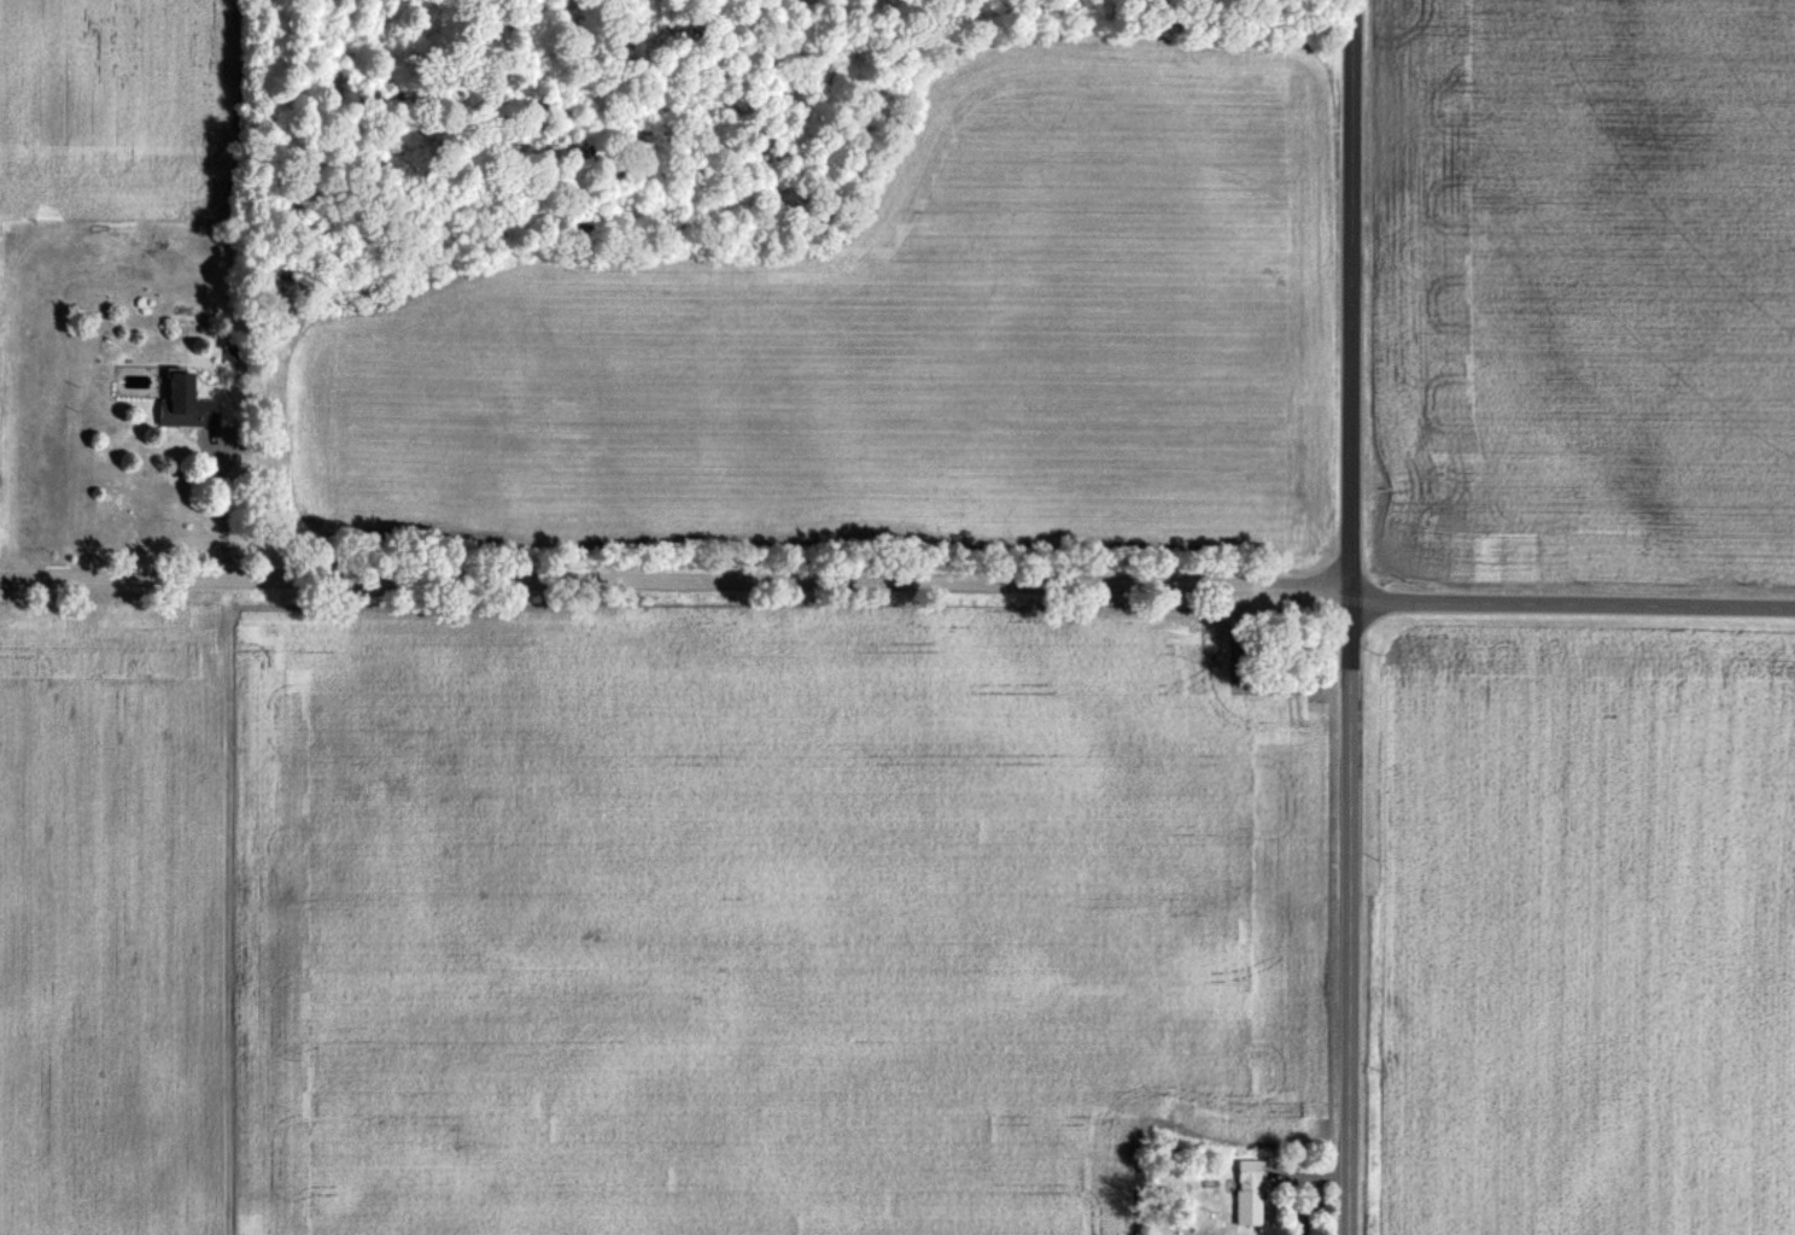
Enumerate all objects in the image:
building: (186, 405)
road: (223, 508)
road: (676, 586)
road: (1574, 609)
road: (1352, 617)
building: (1246, 1194)

